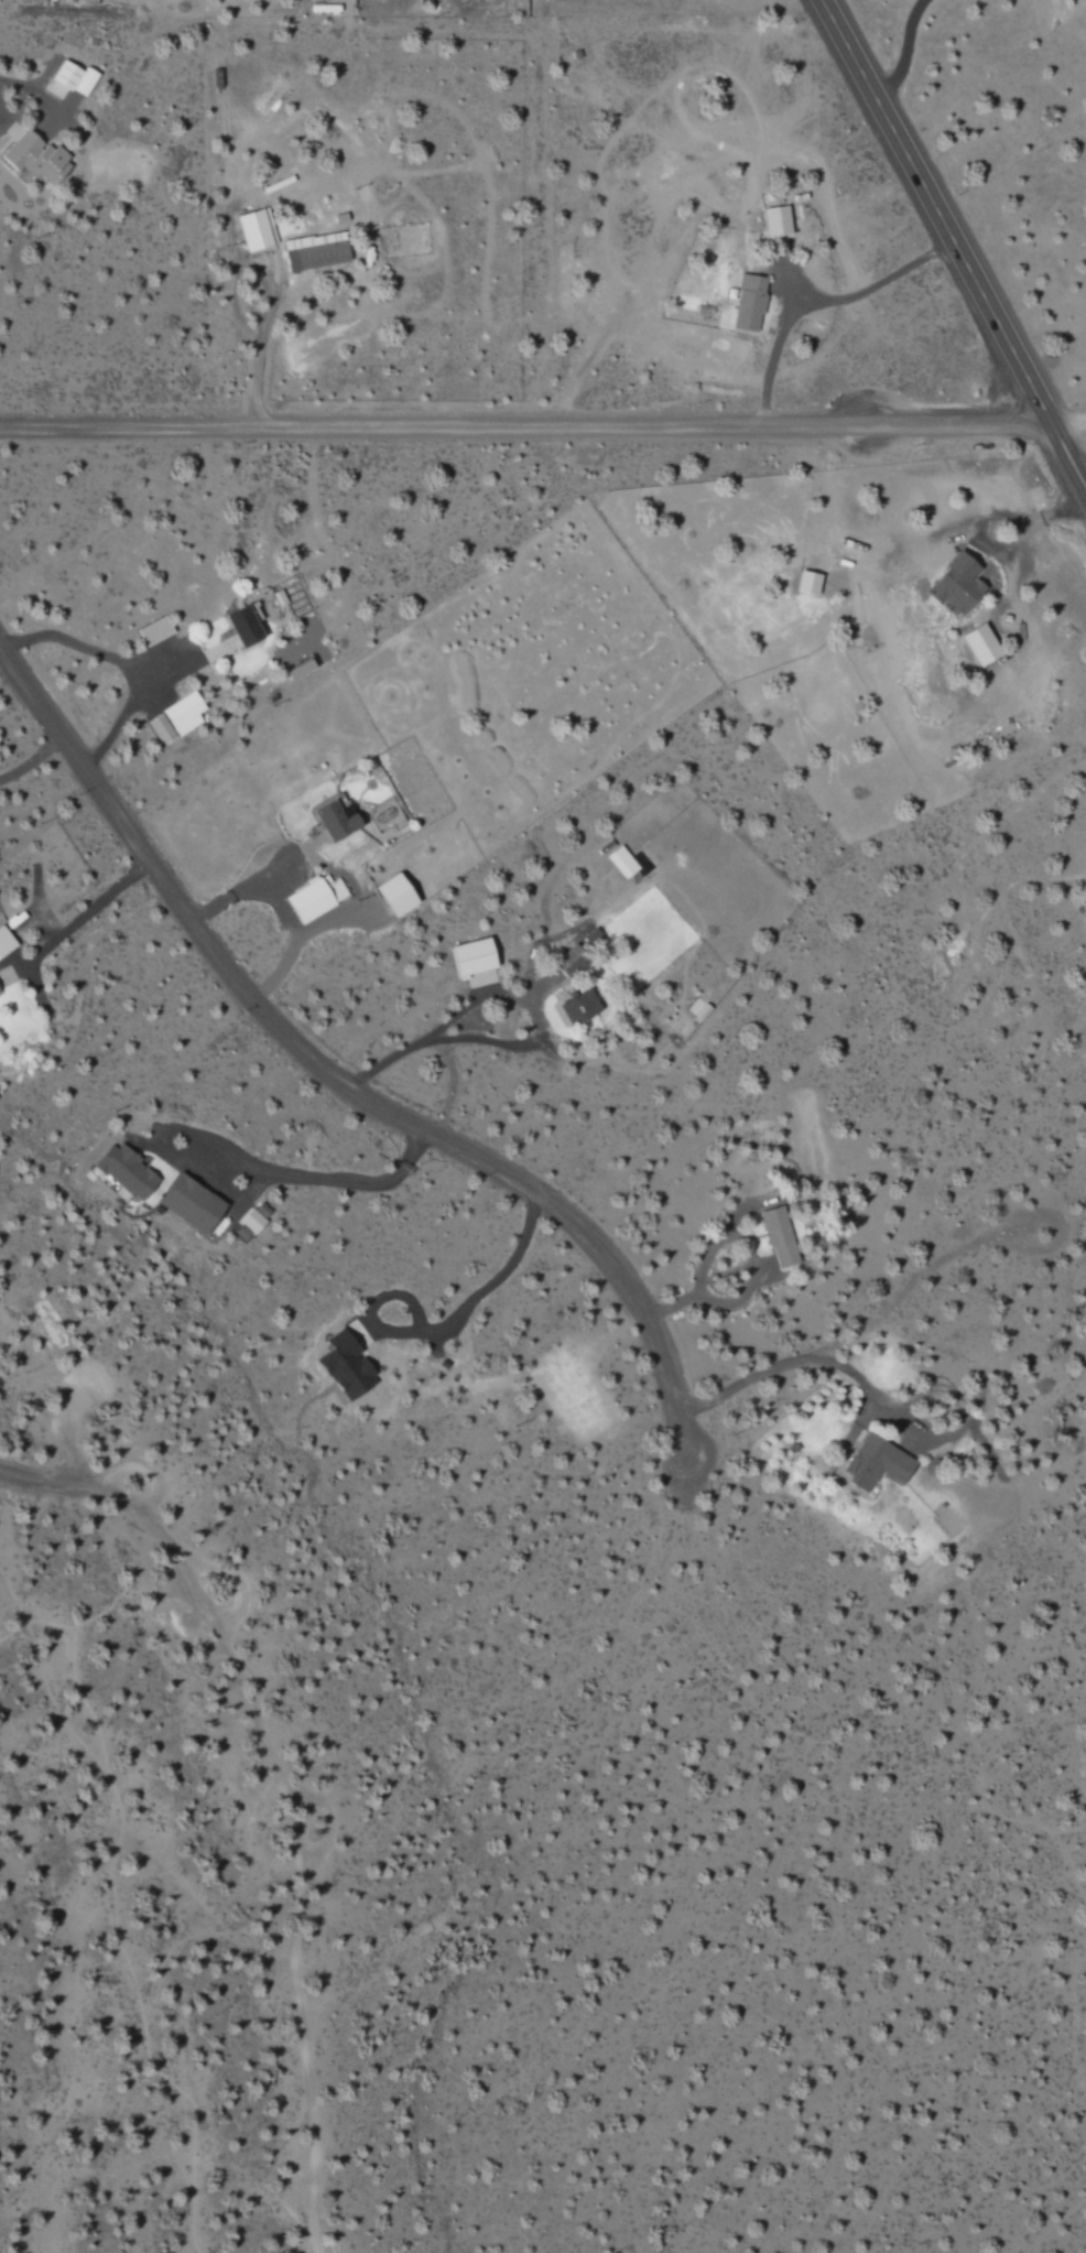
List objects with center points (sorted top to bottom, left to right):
building: (75, 77)
building: (35, 158)
road: (926, 212)
building: (778, 221)
building: (258, 229)
building: (316, 251)
building: (750, 302)
road: (542, 430)
road: (1064, 458)
building: (808, 583)
building: (958, 584)
building: (246, 625)
building: (154, 631)
building: (981, 645)
building: (177, 718)
building: (335, 819)
building: (622, 860)
building: (397, 895)
building: (316, 897)
building: (6, 942)
building: (474, 956)
building: (571, 961)
building: (479, 979)
building: (579, 1007)
road: (332, 1081)
building: (128, 1171)
building: (192, 1203)
building: (262, 1209)
building: (249, 1224)
building: (780, 1236)
building: (347, 1365)
building: (878, 1463)
road: (52, 1478)
road: (293, 1844)

